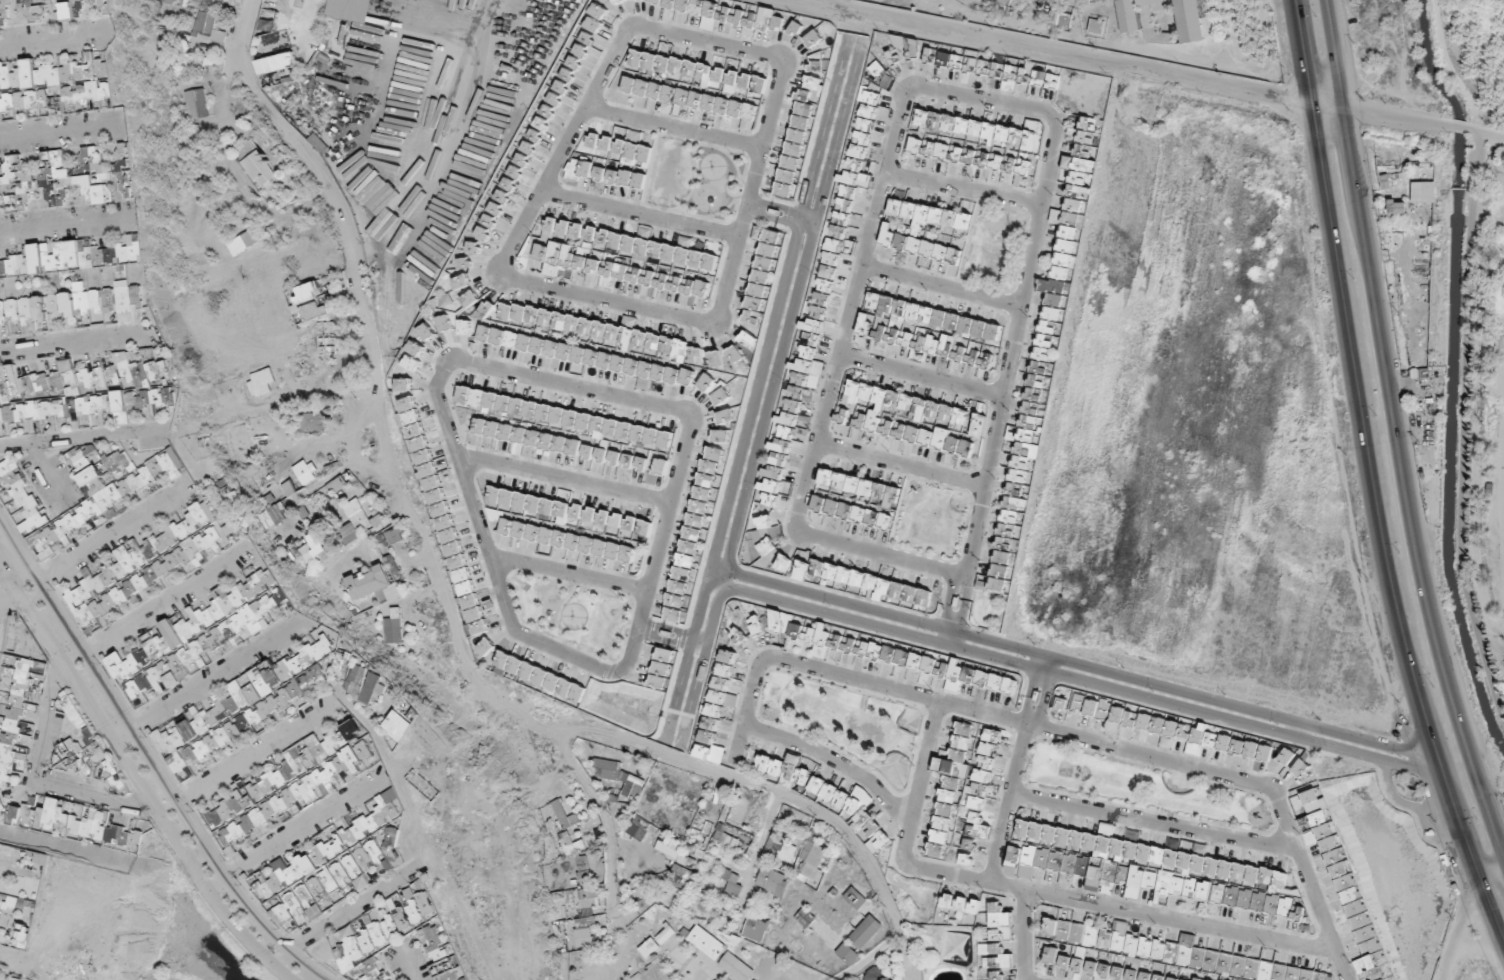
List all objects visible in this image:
park: (1502, 437)
park: (1502, 526)

